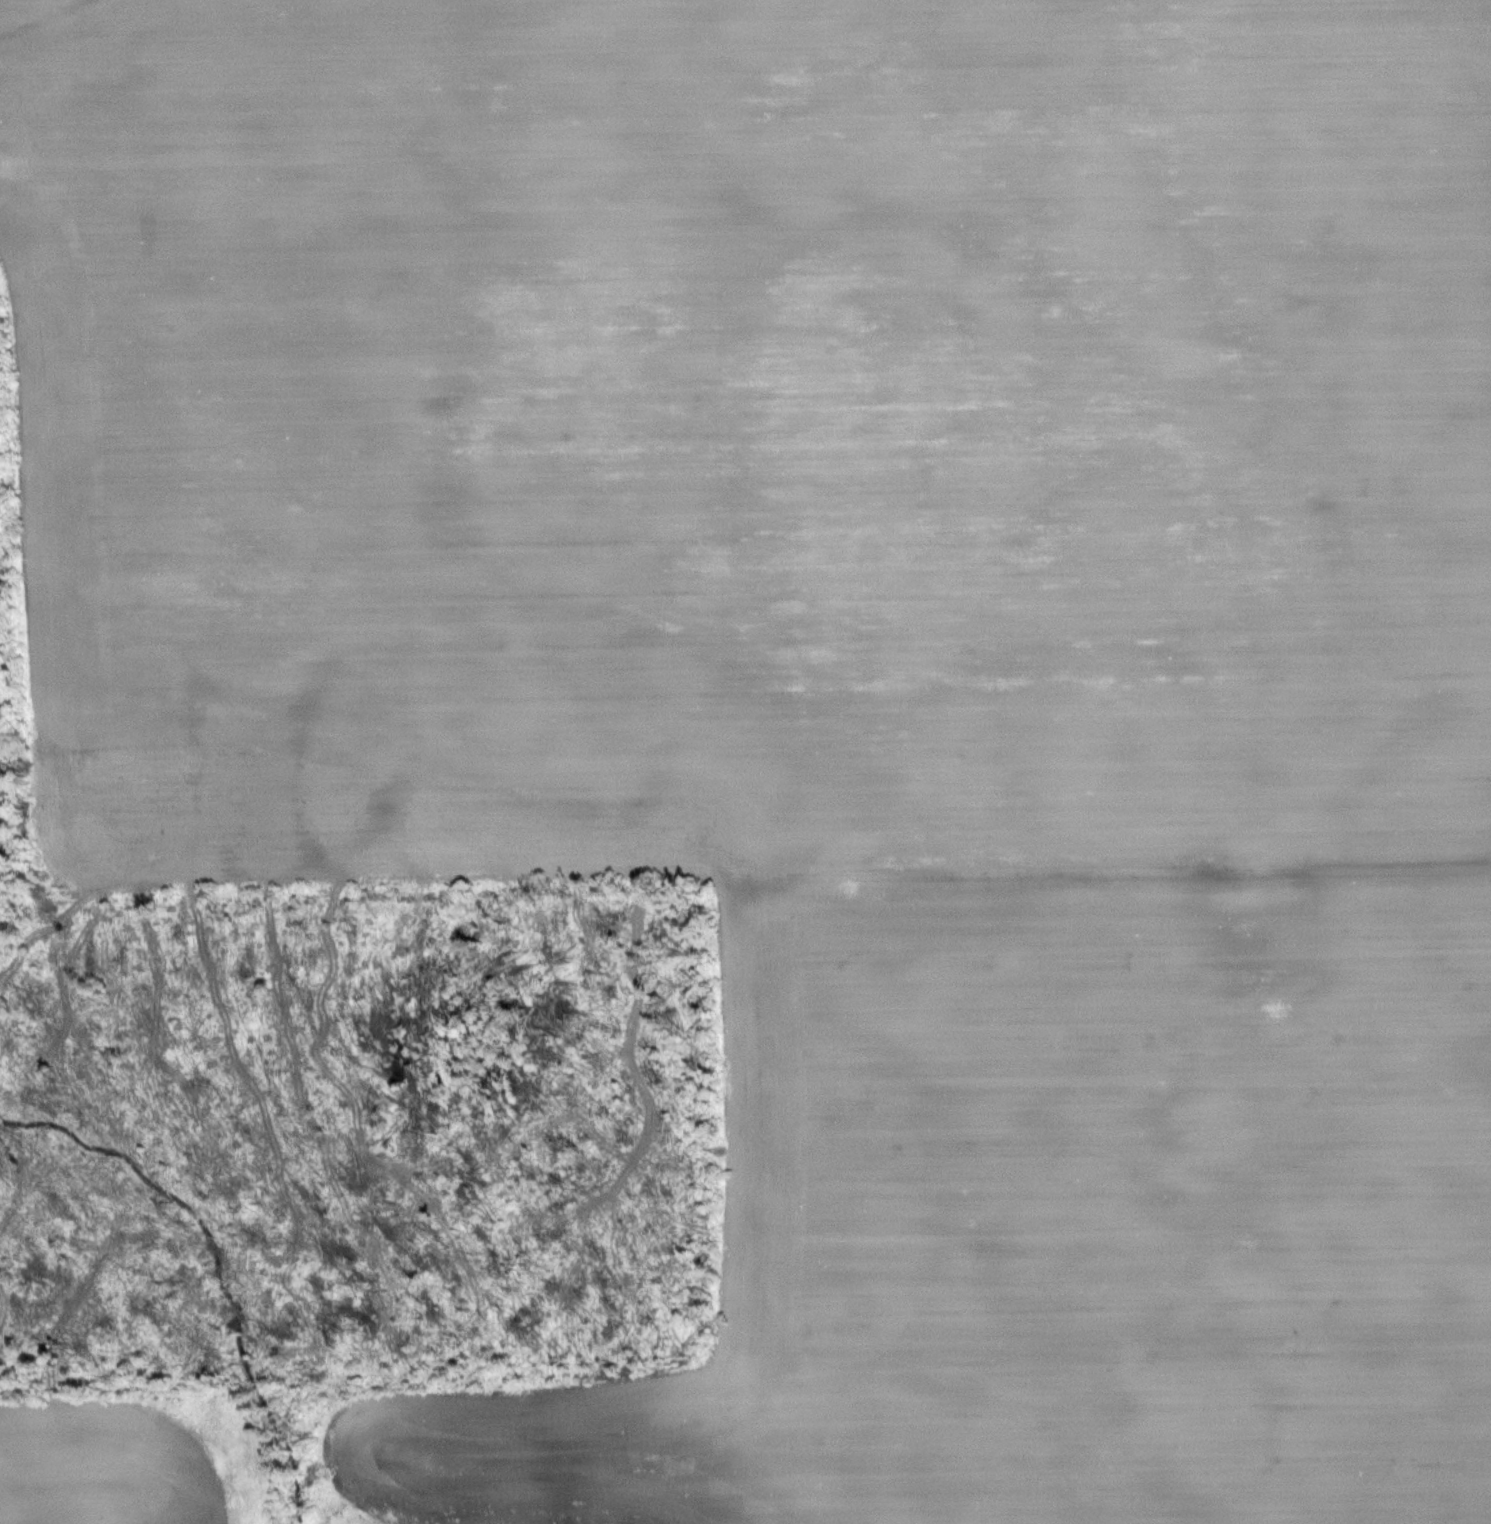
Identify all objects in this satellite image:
road: (1329, 850)

